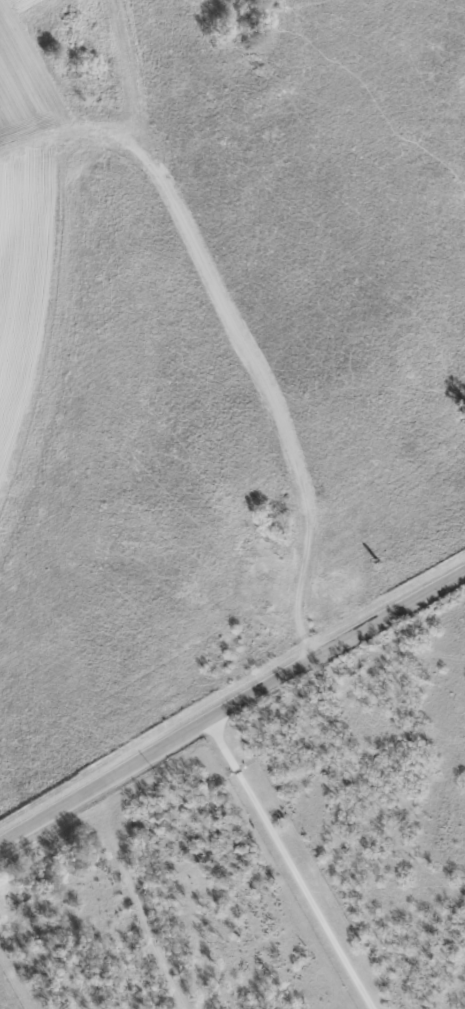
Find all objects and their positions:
road: (232, 706)
road: (289, 865)

